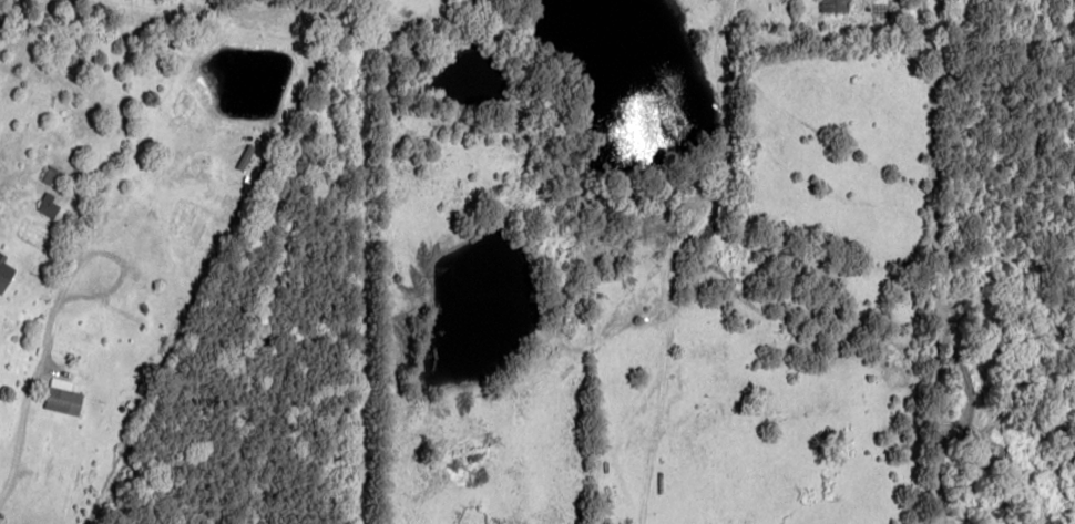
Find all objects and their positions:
building: (835, 6)
building: (53, 176)
building: (48, 205)
building: (4, 274)
building: (63, 398)

